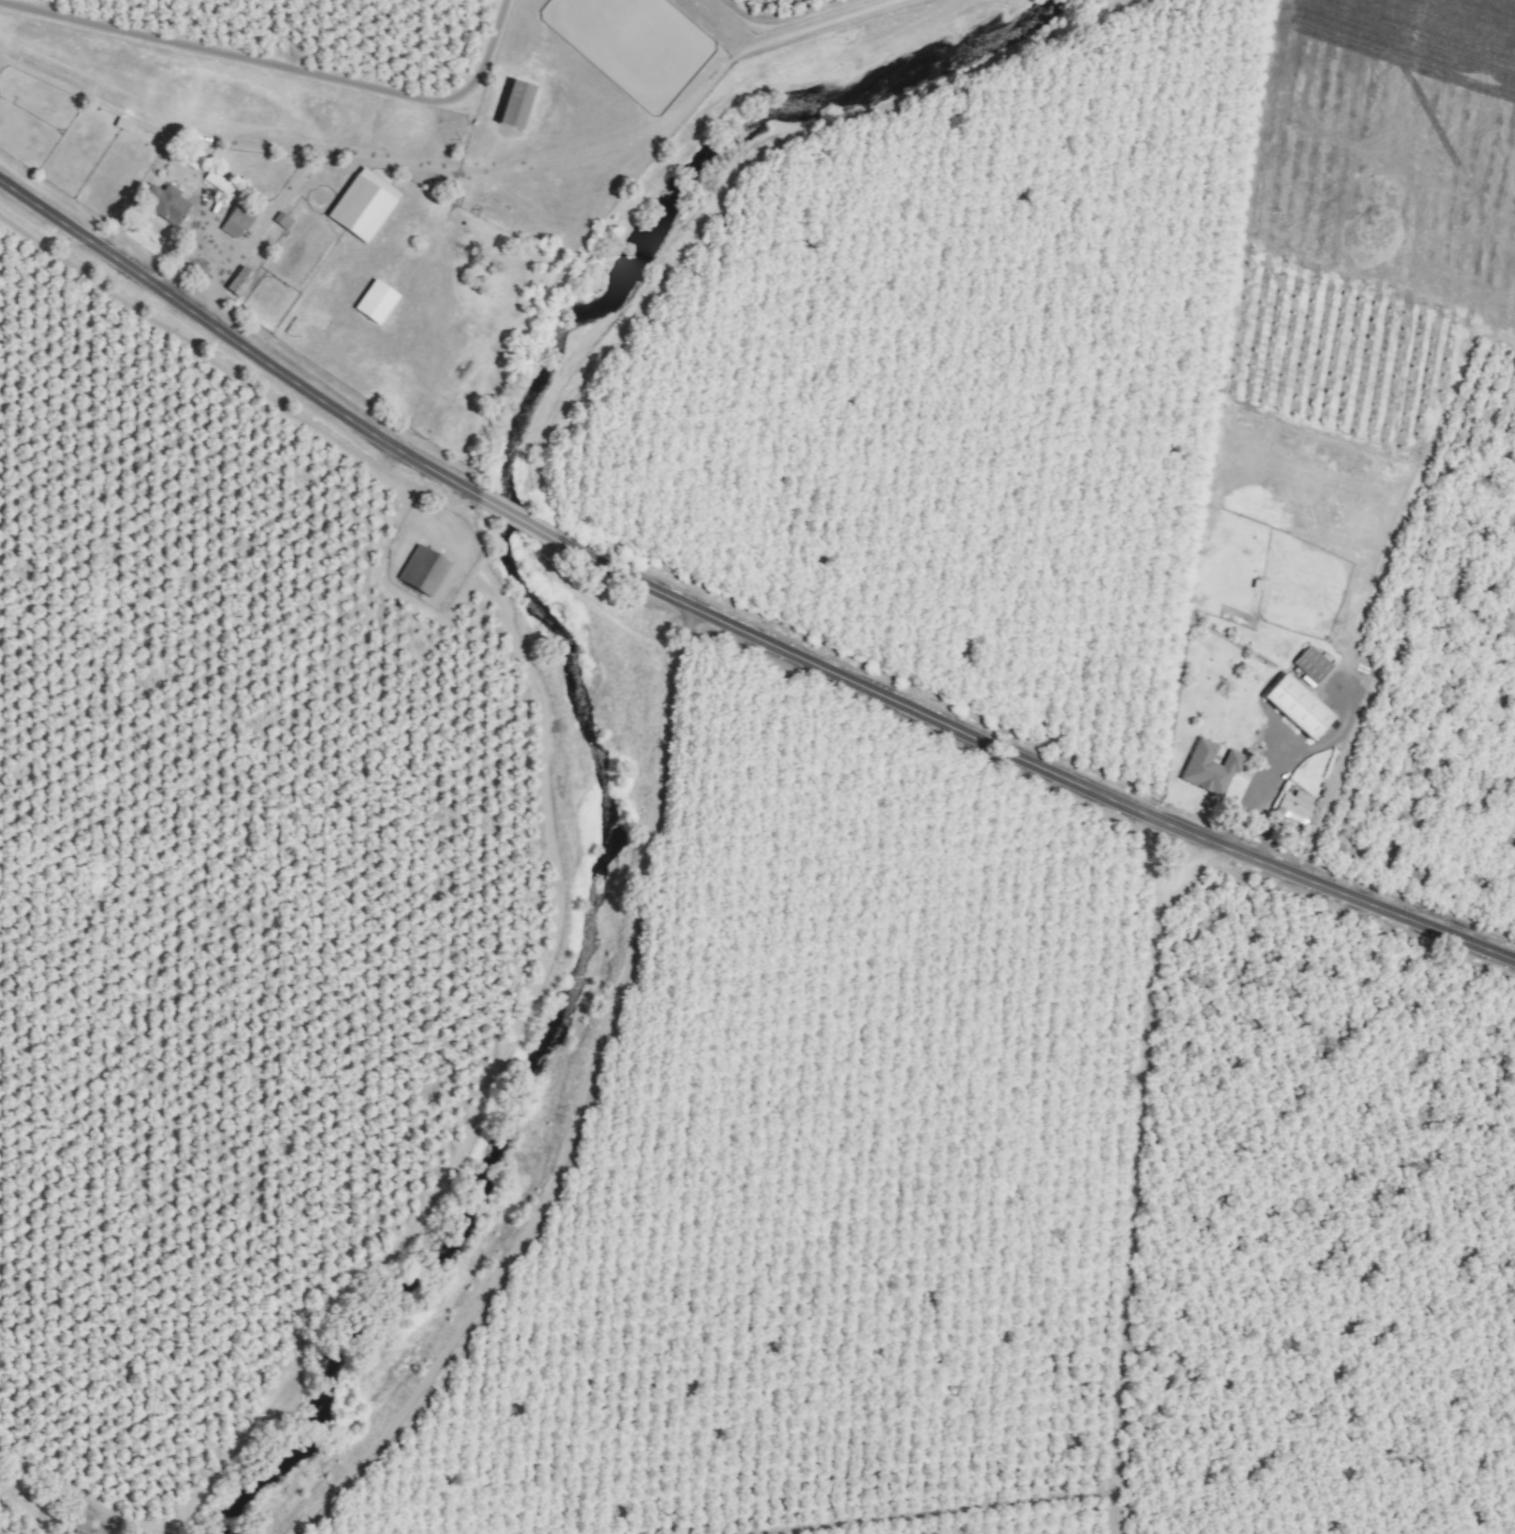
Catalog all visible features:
building: (511, 105)
building: (187, 156)
building: (163, 204)
building: (360, 205)
building: (234, 221)
building: (236, 281)
building: (373, 303)
building: (420, 572)
road: (729, 625)
building: (1310, 665)
building: (1294, 707)
road: (1281, 759)
building: (1207, 768)
building: (1292, 808)
road: (1261, 834)

